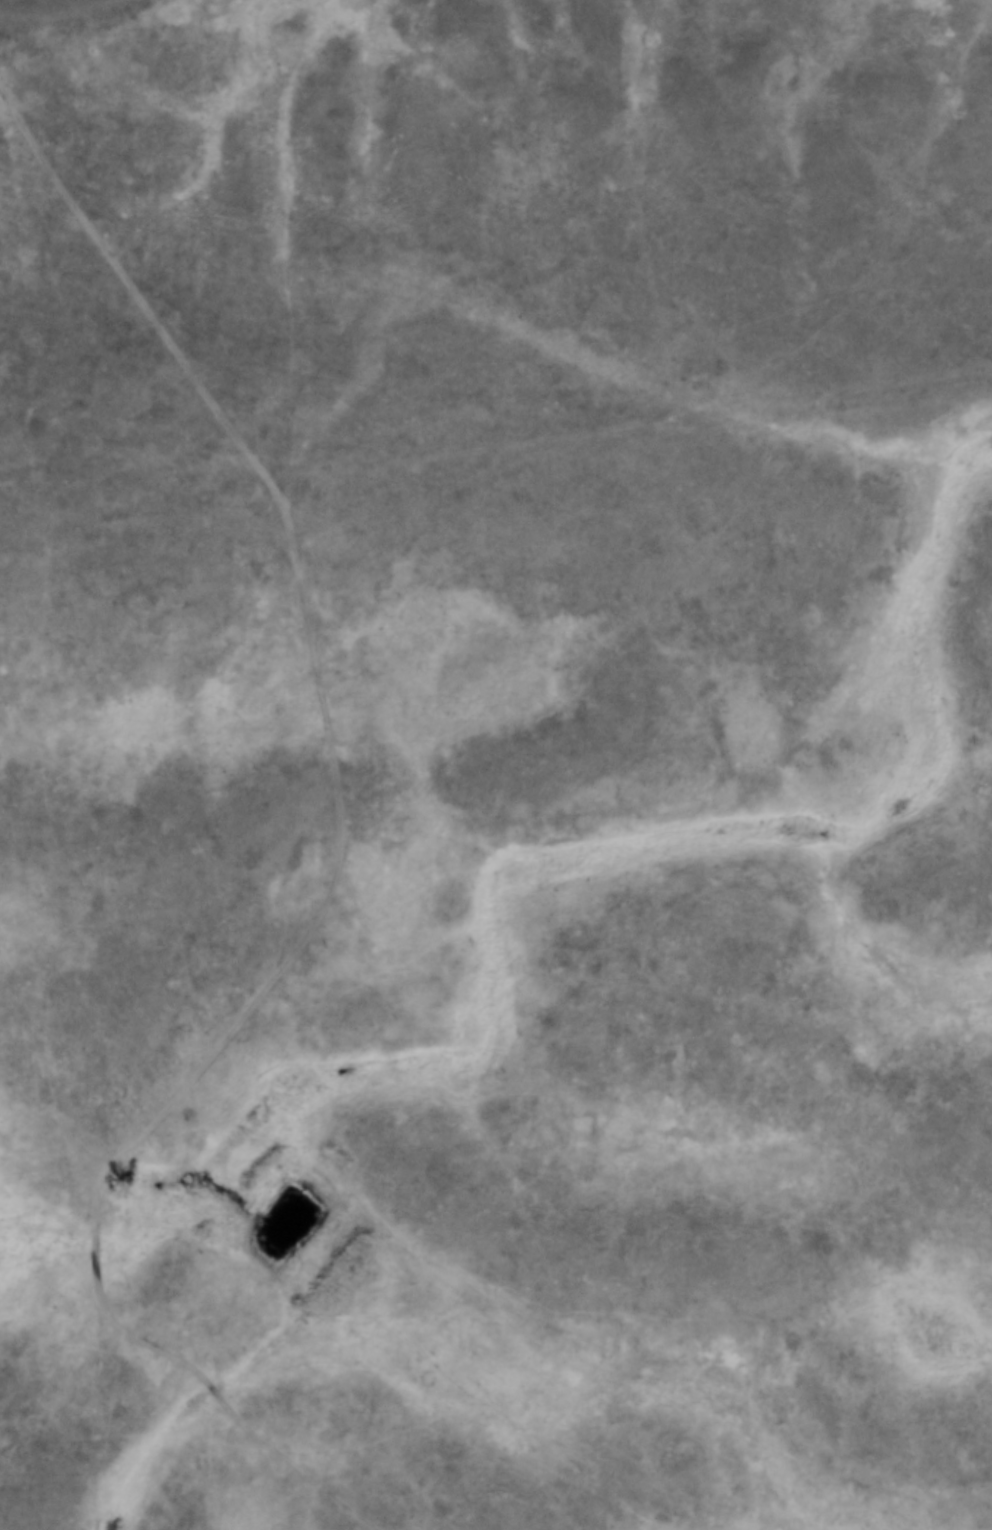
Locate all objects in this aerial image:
road: (309, 614)

